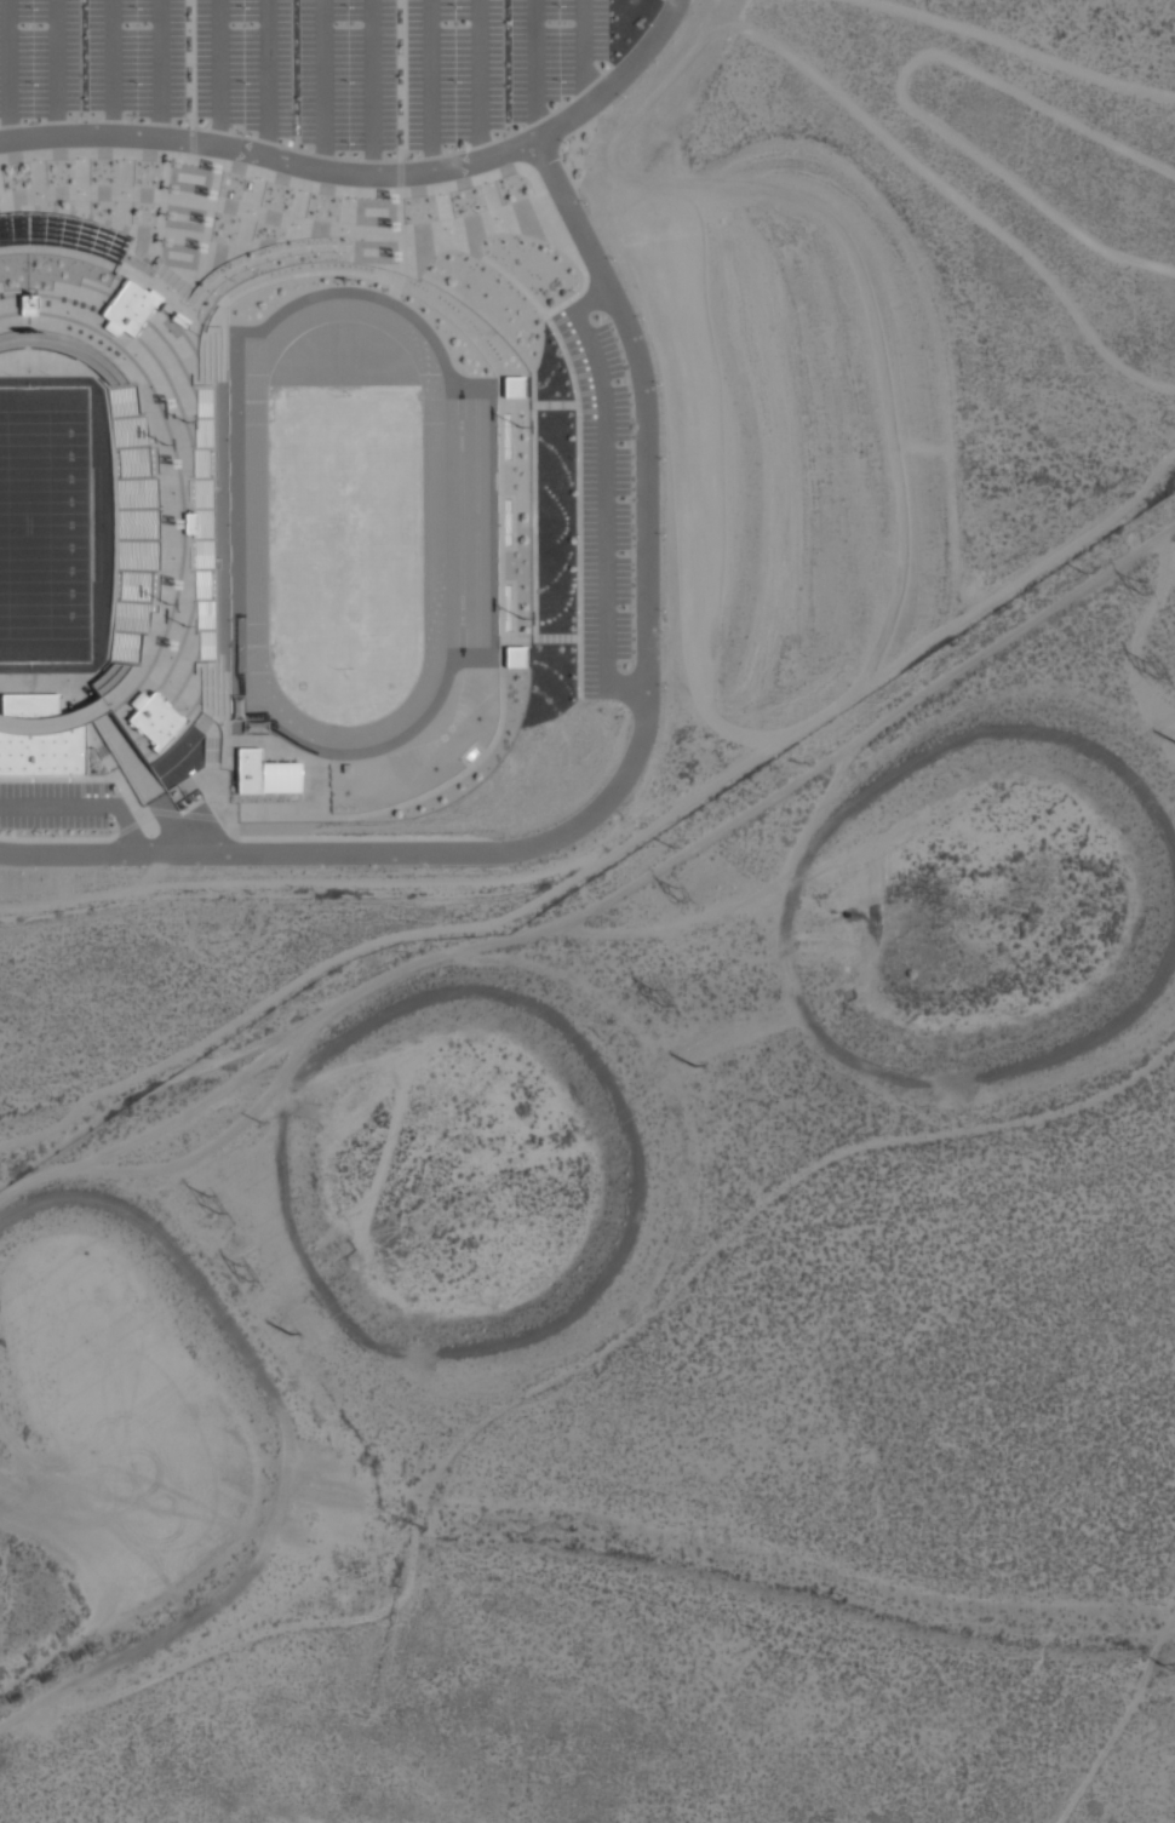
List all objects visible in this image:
road: (590, 56)
road: (111, 67)
road: (56, 68)
road: (160, 68)
parking lot: (316, 68)
road: (8, 69)
road: (540, 71)
road: (220, 73)
road: (266, 78)
road: (482, 80)
road: (624, 84)
road: (323, 85)
road: (431, 85)
road: (374, 86)
road: (271, 156)
building: (512, 386)
road: (604, 495)
stadium: (308, 508)
stadium: (125, 521)
track: (454, 523)
park: (45, 524)
park: (350, 535)
power tower: (1141, 589)
power tower: (1150, 670)
park: (470, 695)
building: (138, 711)
dam: (1008, 722)
park: (412, 758)
road: (631, 775)
road: (85, 804)
power tower: (680, 896)
power tower: (658, 998)
power tower: (698, 1070)
dam: (1020, 1076)
dam: (642, 1140)
power tower: (207, 1210)
power tower: (242, 1274)
power tower: (294, 1337)
dam: (290, 1422)
road: (286, 1447)
power tower: (1162, 1666)

